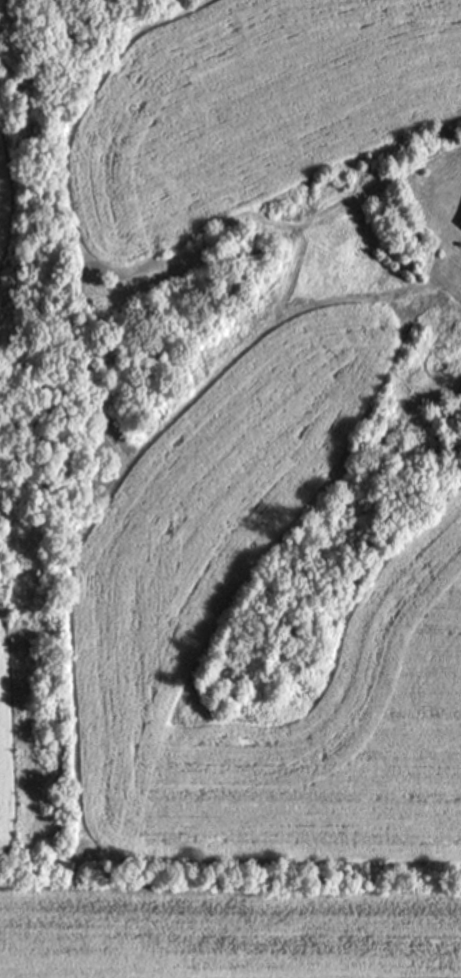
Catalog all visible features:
building: (459, 222)

